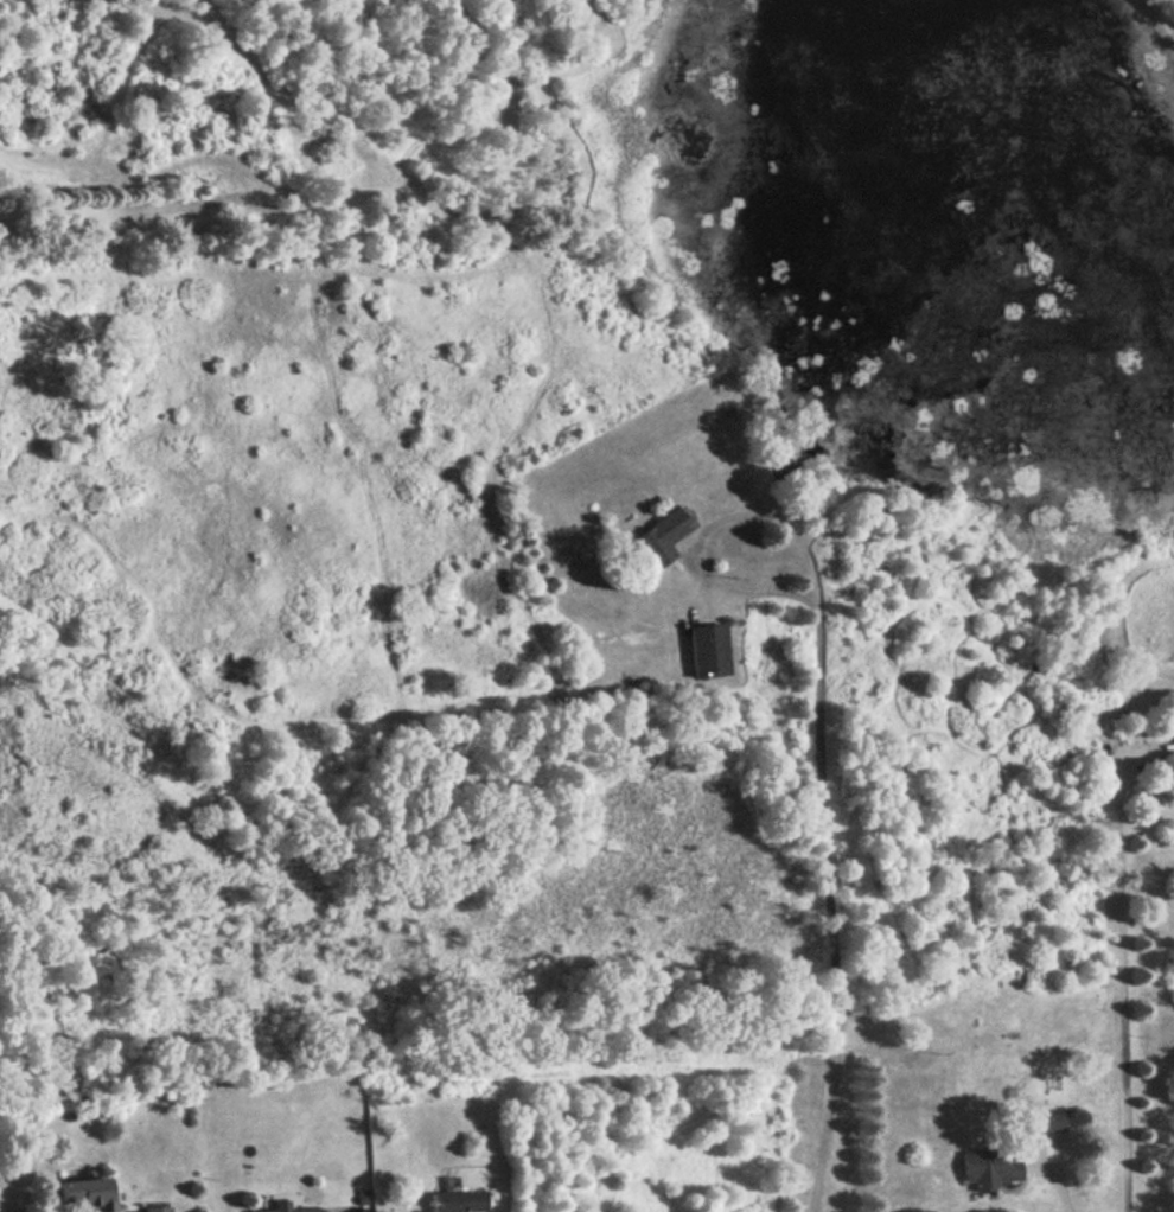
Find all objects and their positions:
road: (703, 524)
building: (662, 535)
building: (708, 650)
road: (831, 910)
road: (1119, 959)
building: (1046, 1119)
building: (989, 1167)
road: (1060, 1181)
building: (85, 1193)
building: (457, 1201)
building: (300, 1206)
building: (155, 1208)

